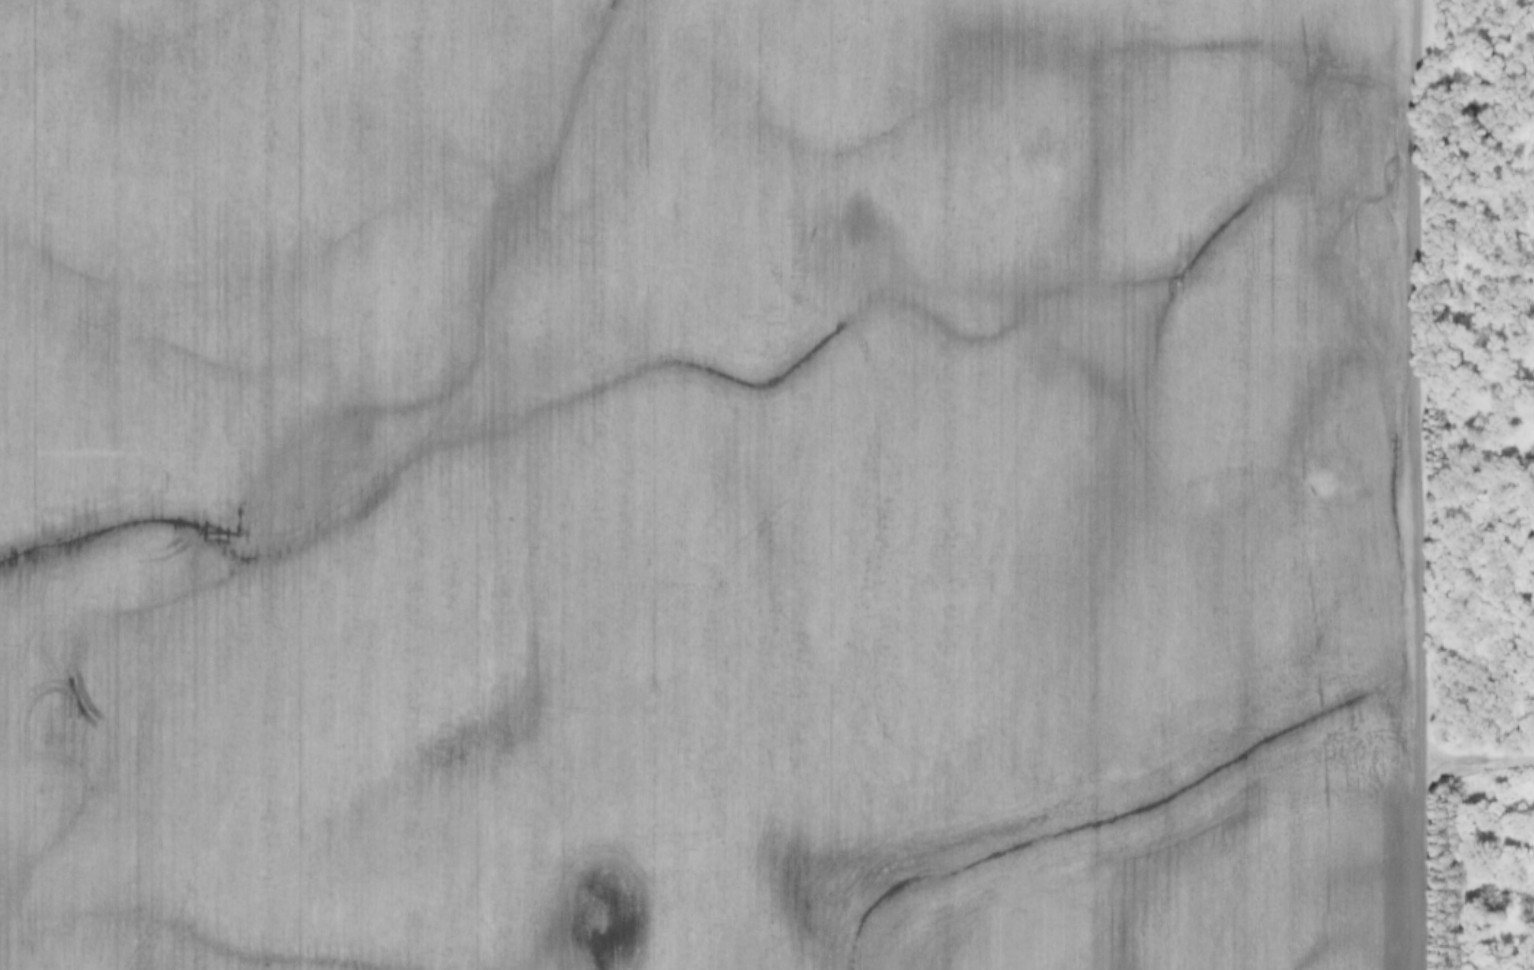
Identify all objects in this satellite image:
road: (1414, 484)
road: (1477, 760)

